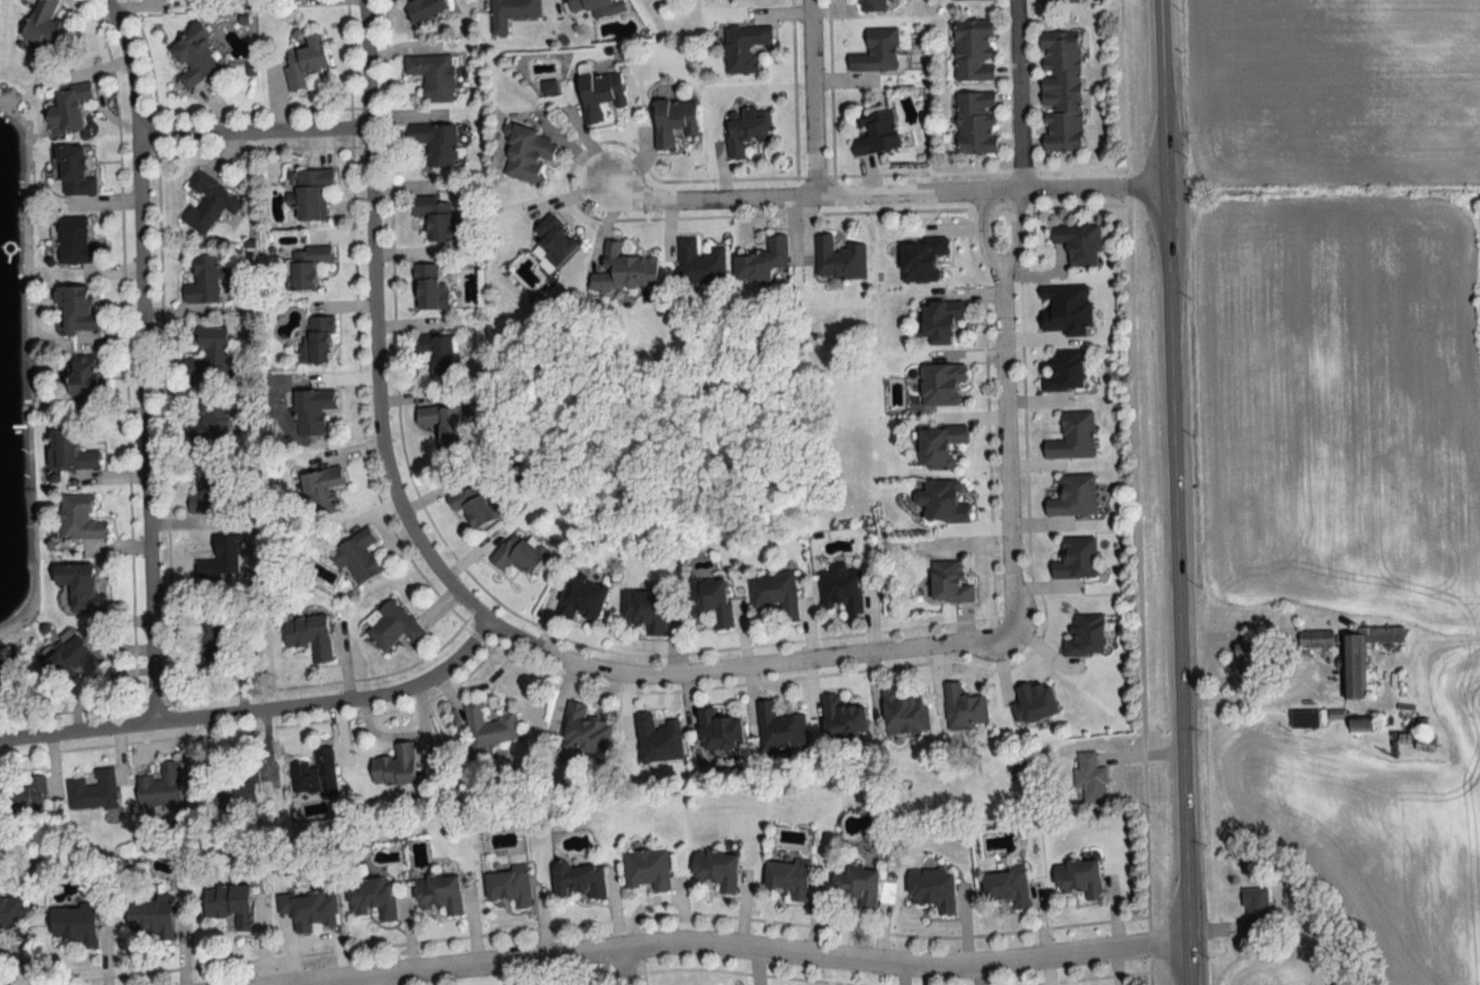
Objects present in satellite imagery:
building: (972, 0)
building: (1057, 1)
building: (871, 5)
building: (597, 7)
building: (425, 11)
building: (512, 13)
building: (45, 27)
building: (744, 47)
building: (876, 52)
building: (974, 52)
building: (193, 57)
building: (305, 62)
road: (366, 66)
building: (433, 76)
building: (1061, 92)
building: (600, 95)
road: (1123, 95)
road: (1019, 96)
road: (810, 99)
building: (69, 107)
building: (673, 121)
building: (976, 124)
building: (745, 130)
road: (317, 133)
building: (877, 133)
road: (201, 134)
building: (435, 144)
building: (528, 155)
building: (73, 172)
building: (313, 194)
road: (887, 196)
building: (208, 203)
building: (436, 218)
building: (554, 240)
building: (74, 242)
building: (1078, 242)
building: (838, 260)
building: (921, 260)
building: (699, 263)
building: (764, 263)
building: (307, 266)
building: (625, 270)
road: (1001, 274)
building: (203, 280)
building: (429, 289)
building: (77, 308)
building: (940, 321)
building: (320, 340)
building: (440, 352)
building: (209, 354)
road: (143, 360)
building: (1064, 371)
building: (82, 377)
building: (942, 384)
building: (314, 411)
building: (211, 419)
building: (442, 423)
building: (1073, 437)
building: (939, 447)
building: (69, 452)
road: (1006, 456)
building: (206, 489)
road: (1175, 492)
building: (1074, 497)
building: (321, 500)
building: (942, 502)
building: (471, 505)
building: (80, 520)
building: (516, 555)
building: (356, 559)
building: (1076, 559)
building: (218, 567)
building: (949, 583)
building: (79, 587)
building: (841, 589)
building: (775, 593)
building: (582, 599)
building: (710, 601)
building: (644, 611)
building: (391, 625)
road: (491, 627)
building: (213, 628)
building: (308, 636)
building: (1085, 636)
building: (1315, 638)
building: (1246, 660)
building: (69, 662)
building: (1354, 667)
building: (5, 681)
road: (1235, 698)
building: (1034, 703)
building: (964, 709)
road: (256, 713)
building: (904, 714)
building: (842, 718)
building: (1304, 719)
building: (1361, 725)
building: (490, 726)
building: (780, 729)
building: (718, 731)
building: (584, 733)
building: (658, 739)
building: (394, 767)
building: (314, 774)
building: (1090, 777)
building: (160, 786)
building: (240, 788)
building: (94, 793)
building: (26, 796)
building: (717, 868)
building: (646, 870)
building: (788, 877)
building: (1078, 877)
building: (580, 879)
building: (858, 883)
building: (1007, 885)
building: (509, 886)
building: (933, 888)
building: (439, 893)
building: (372, 898)
building: (230, 904)
building: (309, 909)
building: (1254, 910)
building: (10, 912)
building: (152, 915)
building: (75, 924)
road: (754, 951)
road: (623, 967)
road: (374, 982)

